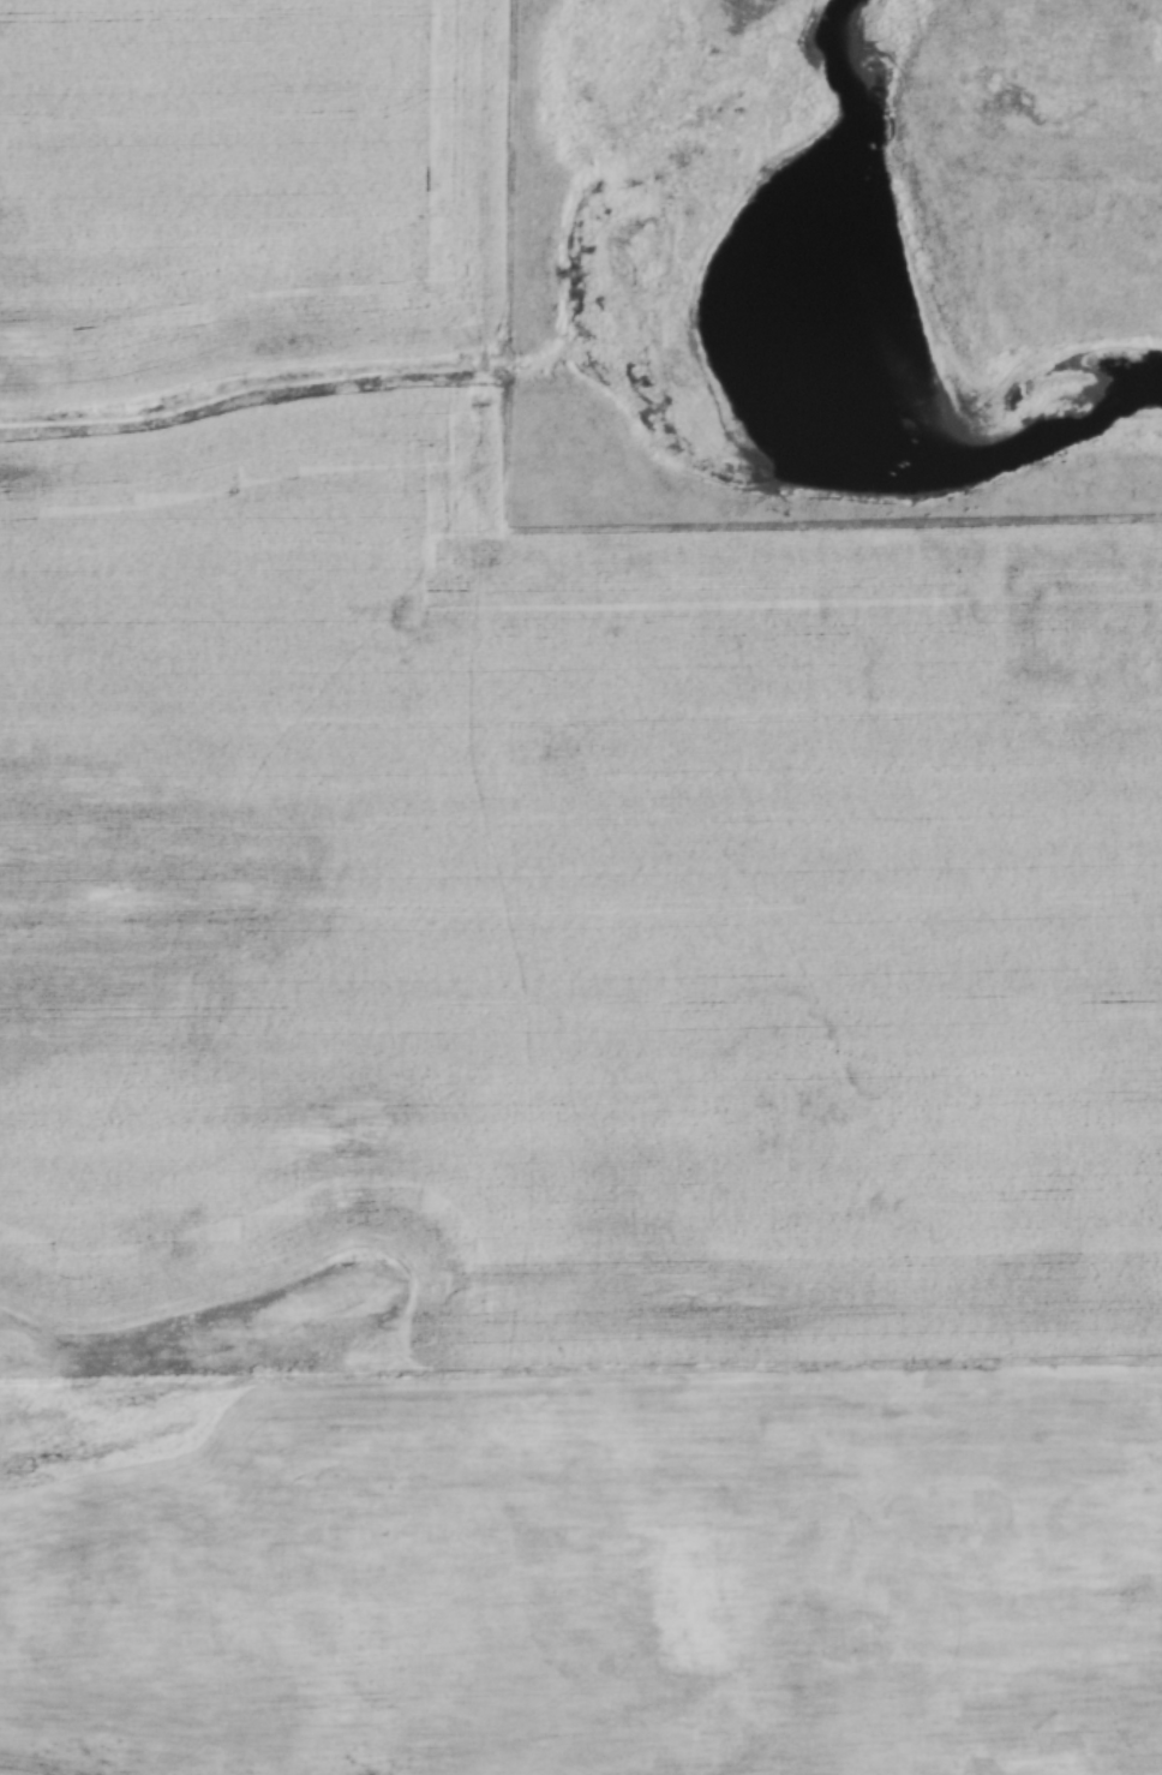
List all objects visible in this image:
river: (876, 361)

